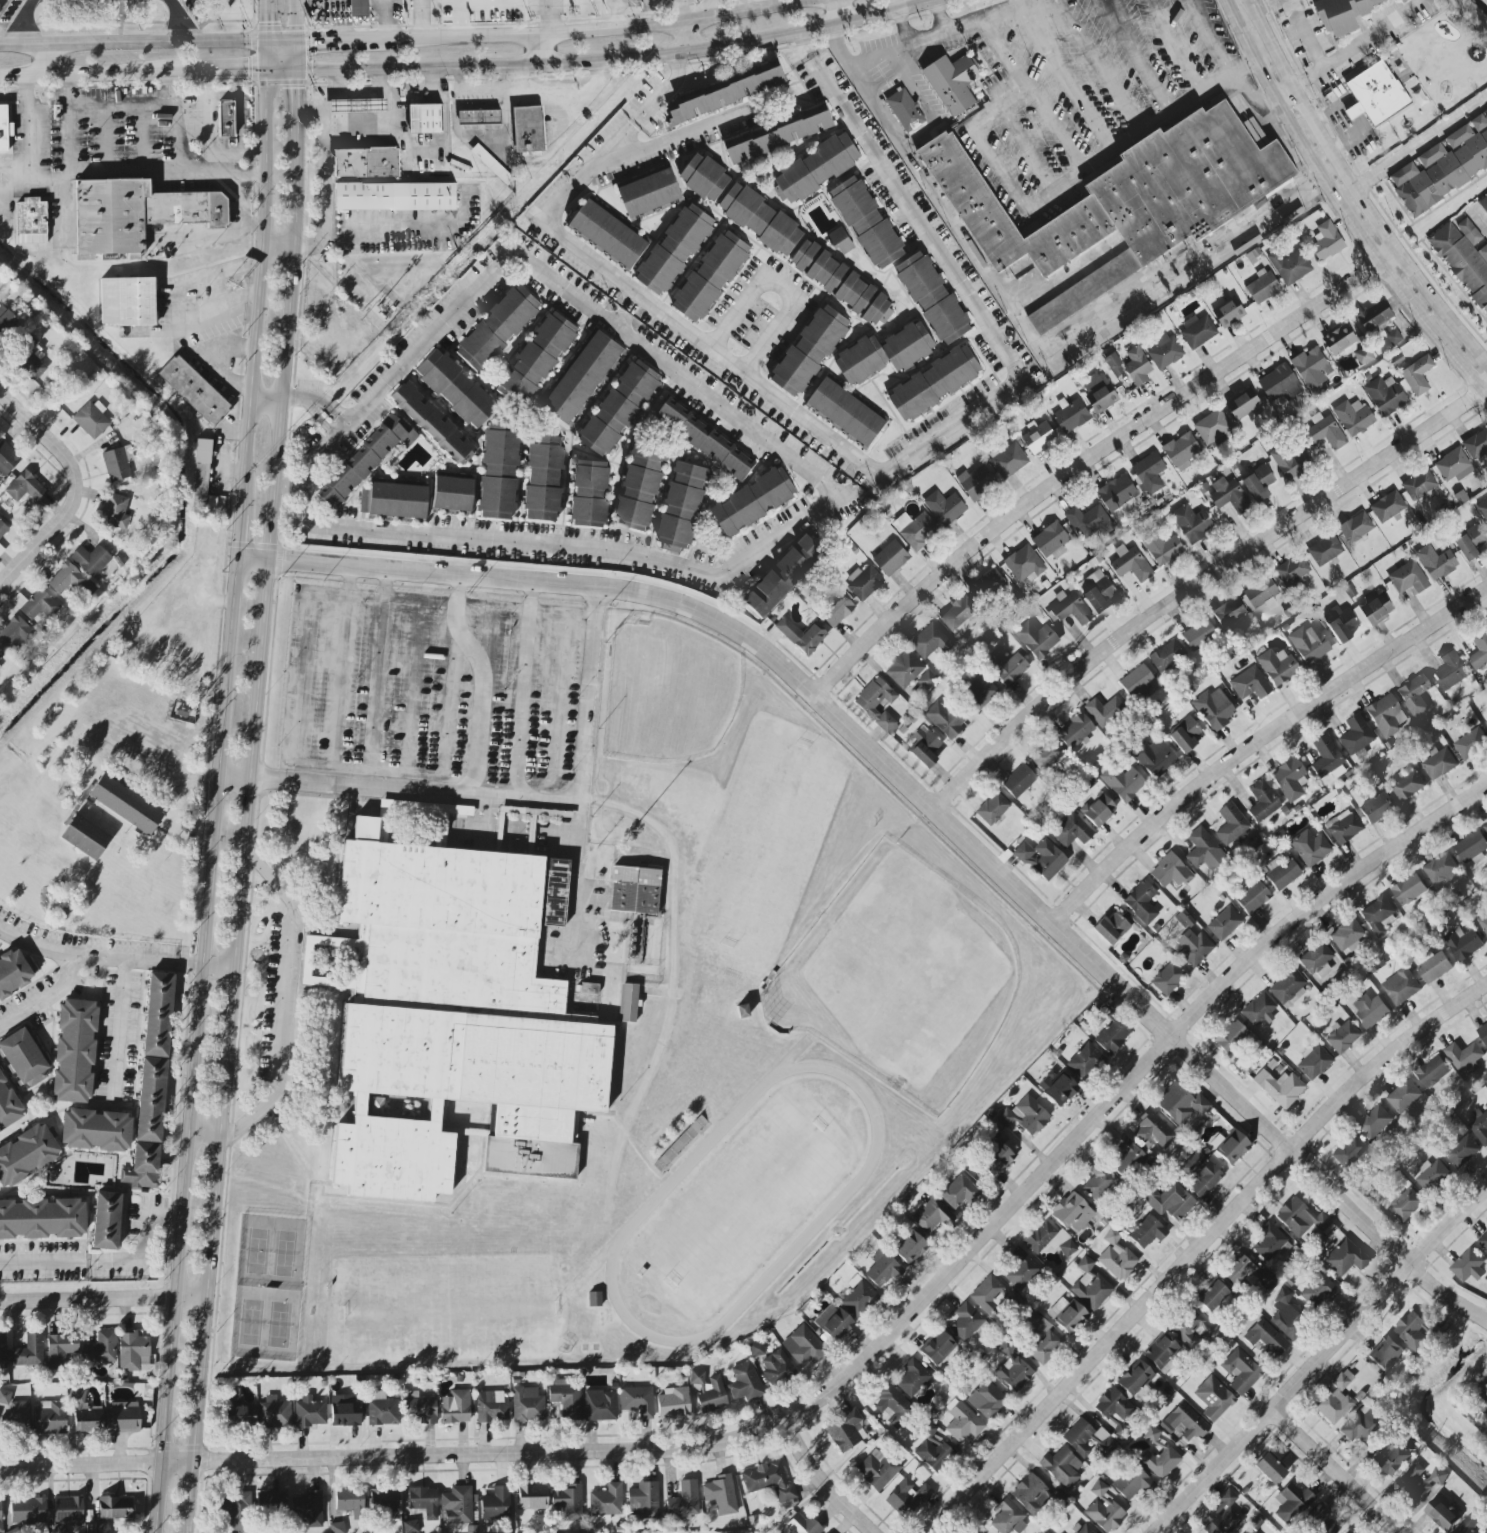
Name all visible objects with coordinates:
building: (1403, 0)
road: (736, 5)
building: (359, 8)
building: (497, 8)
road: (693, 10)
road: (834, 12)
road: (623, 14)
building: (1342, 14)
road: (939, 16)
road: (542, 19)
road: (269, 21)
traffic signals: (269, 21)
road: (293, 21)
road: (422, 21)
road: (178, 22)
road: (35, 23)
road: (902, 27)
road: (582, 33)
road: (939, 34)
road: (688, 37)
road: (1210, 37)
road: (281, 43)
traffic signals: (314, 43)
road: (330, 43)
road: (1310, 43)
road: (134, 44)
road: (800, 45)
road: (1174, 48)
road: (544, 51)
road: (1005, 53)
road: (269, 57)
road: (293, 57)
road: (1137, 58)
road: (616, 59)
road: (49, 61)
road: (1319, 62)
road: (1099, 67)
road: (281, 71)
road: (227, 72)
traffic signals: (246, 72)
road: (92, 76)
road: (1065, 79)
building: (952, 82)
parking lot: (1053, 82)
traffic signals: (295, 87)
building: (724, 92)
road: (667, 93)
building: (1375, 94)
road: (15, 95)
road: (295, 108)
building: (904, 109)
building: (479, 116)
building: (426, 118)
building: (226, 119)
road: (389, 126)
building: (528, 128)
building: (3, 129)
road: (1058, 130)
building: (775, 134)
road: (105, 135)
road: (144, 135)
road: (673, 136)
road: (331, 139)
road: (180, 141)
road: (30, 145)
road: (1421, 147)
road: (1029, 151)
building: (366, 161)
building: (1443, 166)
road: (920, 167)
building: (815, 168)
road: (590, 169)
road: (87, 171)
building: (705, 177)
road: (1073, 181)
road: (15, 183)
road: (1356, 189)
building: (649, 192)
building: (395, 196)
building: (1124, 199)
building: (1483, 201)
road: (1342, 207)
road: (62, 214)
building: (135, 214)
building: (760, 218)
road: (1481, 218)
building: (31, 221)
building: (867, 222)
road: (380, 223)
building: (608, 234)
building: (840, 240)
building: (1327, 241)
road: (280, 248)
building: (674, 248)
building: (1464, 257)
building: (1290, 265)
building: (711, 275)
road: (1159, 281)
building: (842, 282)
road: (786, 283)
building: (1262, 287)
road: (262, 293)
building: (932, 297)
road: (177, 299)
building: (127, 302)
building: (1228, 311)
building: (1374, 314)
building: (6, 322)
building: (497, 328)
building: (1197, 330)
building: (1393, 336)
building: (1339, 339)
building: (809, 350)
building: (1165, 351)
building: (884, 352)
building: (1363, 355)
building: (538, 356)
building: (31, 358)
road: (226, 364)
building: (1114, 364)
building: (1137, 365)
building: (1311, 366)
building: (1417, 374)
building: (582, 376)
building: (933, 382)
building: (1279, 382)
building: (454, 389)
road: (1484, 389)
building: (194, 390)
building: (1099, 391)
building: (1385, 394)
road: (317, 399)
road: (268, 401)
building: (1243, 403)
building: (619, 407)
building: (846, 411)
building: (1071, 415)
building: (1353, 416)
building: (92, 419)
building: (433, 424)
building: (1212, 428)
building: (1326, 432)
road: (45, 434)
building: (1038, 436)
road: (943, 438)
building: (705, 439)
building: (1476, 443)
building: (1181, 450)
road: (1092, 455)
building: (7, 458)
building: (366, 459)
building: (1008, 460)
building: (1290, 460)
building: (117, 463)
building: (1453, 465)
building: (498, 471)
building: (201, 472)
building: (1148, 472)
building: (543, 477)
building: (976, 481)
building: (1258, 482)
building: (1419, 485)
building: (640, 487)
building: (25, 488)
building: (589, 493)
building: (1118, 493)
building: (451, 494)
building: (1229, 495)
building: (397, 500)
building: (753, 501)
building: (363, 503)
road: (835, 504)
building: (1387, 505)
building: (681, 507)
building: (945, 507)
building: (1483, 509)
building: (115, 511)
building: (1089, 520)
building: (1191, 523)
building: (1356, 526)
building: (915, 528)
building: (3, 529)
road: (43, 534)
road: (242, 539)
building: (1050, 540)
building: (1470, 541)
building: (1162, 547)
building: (1325, 549)
building: (1, 550)
building: (890, 557)
building: (91, 560)
building: (1436, 561)
building: (1130, 563)
building: (1023, 564)
building: (1292, 571)
building: (782, 575)
building: (1408, 577)
building: (70, 581)
building: (865, 583)
road: (1196, 585)
building: (988, 586)
building: (1097, 590)
building: (1260, 591)
road: (366, 594)
building: (40, 606)
building: (1375, 606)
road: (549, 607)
building: (836, 610)
building: (958, 612)
building: (1229, 612)
building: (1341, 623)
building: (15, 634)
building: (1198, 634)
building: (801, 635)
building: (1036, 639)
building: (930, 641)
building: (1309, 644)
building: (1479, 650)
building: (1, 655)
building: (1166, 656)
building: (1277, 666)
building: (1006, 667)
building: (904, 669)
building: (1451, 670)
building: (926, 680)
building: (1139, 683)
road: (482, 684)
building: (1250, 684)
parking lot: (431, 686)
road: (339, 690)
building: (978, 692)
road: (376, 693)
building: (1414, 695)
building: (876, 703)
building: (1213, 709)
building: (1104, 711)
building: (1386, 715)
building: (945, 719)
building: (1485, 721)
parking lot: (144, 729)
road: (445, 730)
building: (1075, 730)
building: (1185, 734)
building: (1356, 737)
road: (1262, 741)
building: (1471, 743)
building: (924, 747)
building: (1047, 755)
building: (1154, 757)
building: (1327, 760)
building: (1439, 763)
road: (585, 772)
building: (1289, 780)
road: (200, 781)
building: (1018, 781)
building: (1123, 782)
road: (234, 783)
building: (1408, 786)
road: (415, 793)
building: (1262, 801)
road: (930, 802)
building: (125, 805)
building: (992, 808)
building: (1376, 808)
building: (1098, 810)
road: (488, 812)
building: (1231, 824)
building: (1344, 827)
building: (1485, 828)
building: (1072, 831)
building: (84, 837)
road: (241, 839)
building: (1310, 848)
building: (1471, 848)
building: (1203, 850)
building: (1041, 859)
building: (1440, 868)
building: (1170, 871)
building: (1281, 872)
building: (1409, 890)
building: (635, 893)
building: (1252, 897)
building: (1141, 903)
building: (1379, 916)
building: (1483, 921)
building: (1224, 924)
building: (1110, 928)
building: (1346, 936)
building: (636, 940)
road: (61, 944)
building: (1464, 944)
building: (1194, 949)
road: (153, 960)
building: (1317, 960)
road: (205, 964)
building: (1434, 968)
building: (15, 972)
building: (1167, 978)
park: (901, 981)
building: (1287, 986)
building: (1401, 987)
road: (47, 994)
building: (630, 1005)
road: (288, 1006)
building: (1259, 1010)
building: (1370, 1011)
building: (157, 1015)
building: (456, 1023)
road: (125, 1025)
building: (1483, 1032)
building: (1112, 1036)
building: (1230, 1037)
building: (1342, 1037)
road: (202, 1048)
building: (74, 1052)
building: (1465, 1057)
building: (24, 1058)
building: (1085, 1061)
building: (1314, 1063)
building: (1433, 1072)
building: (1279, 1087)
building: (1058, 1088)
building: (1404, 1096)
building: (1180, 1104)
building: (8, 1106)
building: (1024, 1116)
building: (1375, 1122)
building: (147, 1126)
building: (1480, 1129)
building: (95, 1130)
building: (1152, 1132)
building: (1232, 1148)
building: (1349, 1151)
building: (1463, 1152)
building: (27, 1154)
building: (1127, 1158)
building: (996, 1160)
building: (1200, 1174)
building: (1433, 1177)
building: (1098, 1183)
building: (958, 1192)
building: (1171, 1201)
building: (1406, 1205)
track: (744, 1207)
building: (1072, 1212)
building: (930, 1216)
building: (1301, 1218)
building: (42, 1219)
building: (106, 1221)
building: (1147, 1232)
building: (1049, 1239)
building: (1483, 1241)
building: (1270, 1242)
building: (910, 1248)
road: (148, 1249)
road: (1198, 1249)
building: (1116, 1257)
building: (1345, 1258)
road: (43, 1265)
building: (1469, 1266)
building: (883, 1269)
building: (1020, 1269)
building: (1238, 1270)
building: (1090, 1285)
park: (268, 1289)
building: (1317, 1290)
building: (987, 1294)
building: (1212, 1296)
building: (858, 1297)
building: (594, 1299)
road: (101, 1300)
building: (1067, 1315)
building: (1287, 1315)
building: (833, 1322)
building: (966, 1322)
building: (1188, 1329)
building: (1414, 1331)
building: (1266, 1338)
building: (1044, 1343)
building: (804, 1346)
building: (937, 1347)
building: (101, 1348)
building: (60, 1349)
building: (756, 1349)
building: (2, 1351)
building: (29, 1351)
building: (134, 1352)
building: (1161, 1352)
building: (1386, 1353)
road: (1320, 1360)
building: (776, 1368)
building: (1012, 1369)
building: (1240, 1371)
road: (851, 1375)
building: (912, 1377)
building: (1136, 1380)
building: (745, 1383)
building: (708, 1390)
building: (1483, 1395)
building: (5, 1397)
building: (566, 1398)
building: (1213, 1398)
building: (1334, 1399)
building: (637, 1400)
building: (987, 1400)
building: (890, 1402)
building: (673, 1403)
building: (527, 1405)
building: (600, 1405)
building: (1114, 1405)
building: (491, 1406)
building: (455, 1407)
building: (420, 1408)
building: (381, 1409)
building: (344, 1411)
building: (310, 1412)
building: (85, 1413)
building: (274, 1413)
building: (15, 1415)
building: (50, 1417)
building: (124, 1417)
building: (239, 1417)
building: (962, 1422)
building: (1185, 1422)
building: (1359, 1425)
building: (846, 1431)
building: (1151, 1434)
building: (1087, 1438)
building: (933, 1452)
building: (1391, 1458)
building: (1160, 1462)
building: (1061, 1467)
building: (877, 1469)
building: (1269, 1469)
road: (1335, 1473)
building: (768, 1480)
building: (1421, 1481)
building: (1132, 1482)
road: (824, 1483)
building: (1100, 1492)
building: (721, 1494)
building: (1033, 1495)
building: (532, 1497)
building: (908, 1498)
building: (349, 1499)
building: (643, 1500)
building: (271, 1501)
building: (424, 1501)
building: (568, 1501)
building: (684, 1502)
building: (385, 1503)
building: (605, 1503)
building: (1292, 1503)
building: (456, 1506)
building: (115, 1508)
building: (309, 1508)
building: (28, 1511)
building: (68, 1511)
building: (234, 1512)
building: (1105, 1515)
building: (1222, 1515)
building: (1441, 1515)
building: (0, 1516)
building: (1008, 1517)
building: (1321, 1521)
building: (804, 1524)
building: (1468, 1525)
building: (95, 1528)
building: (1085, 1529)
building: (972, 1530)
road: (1162, 1530)
building: (1348, 1531)
building: (1485, 1531)
building: (828, 1532)

